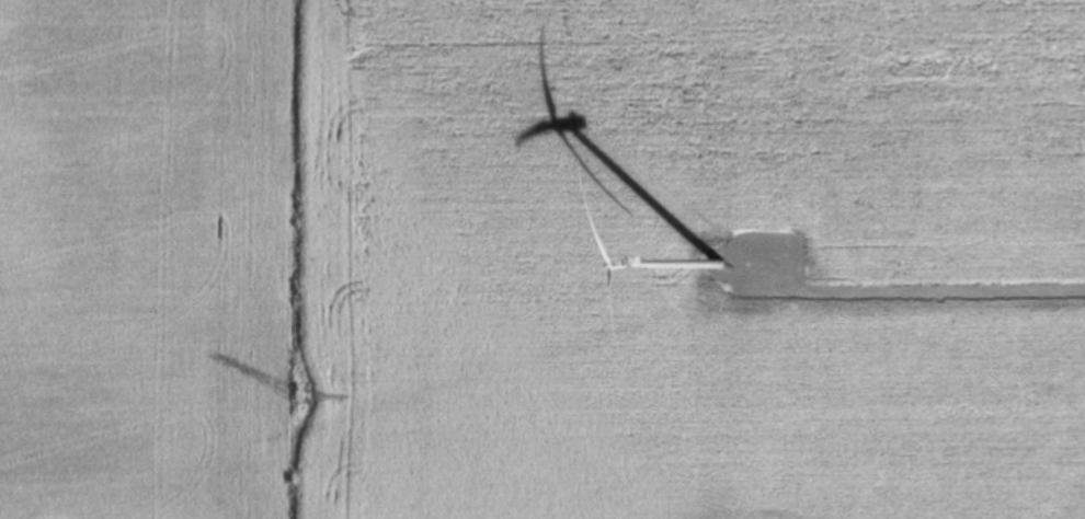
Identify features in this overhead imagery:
wind turbine: (719, 264)
road: (911, 295)
power tower: (297, 402)

